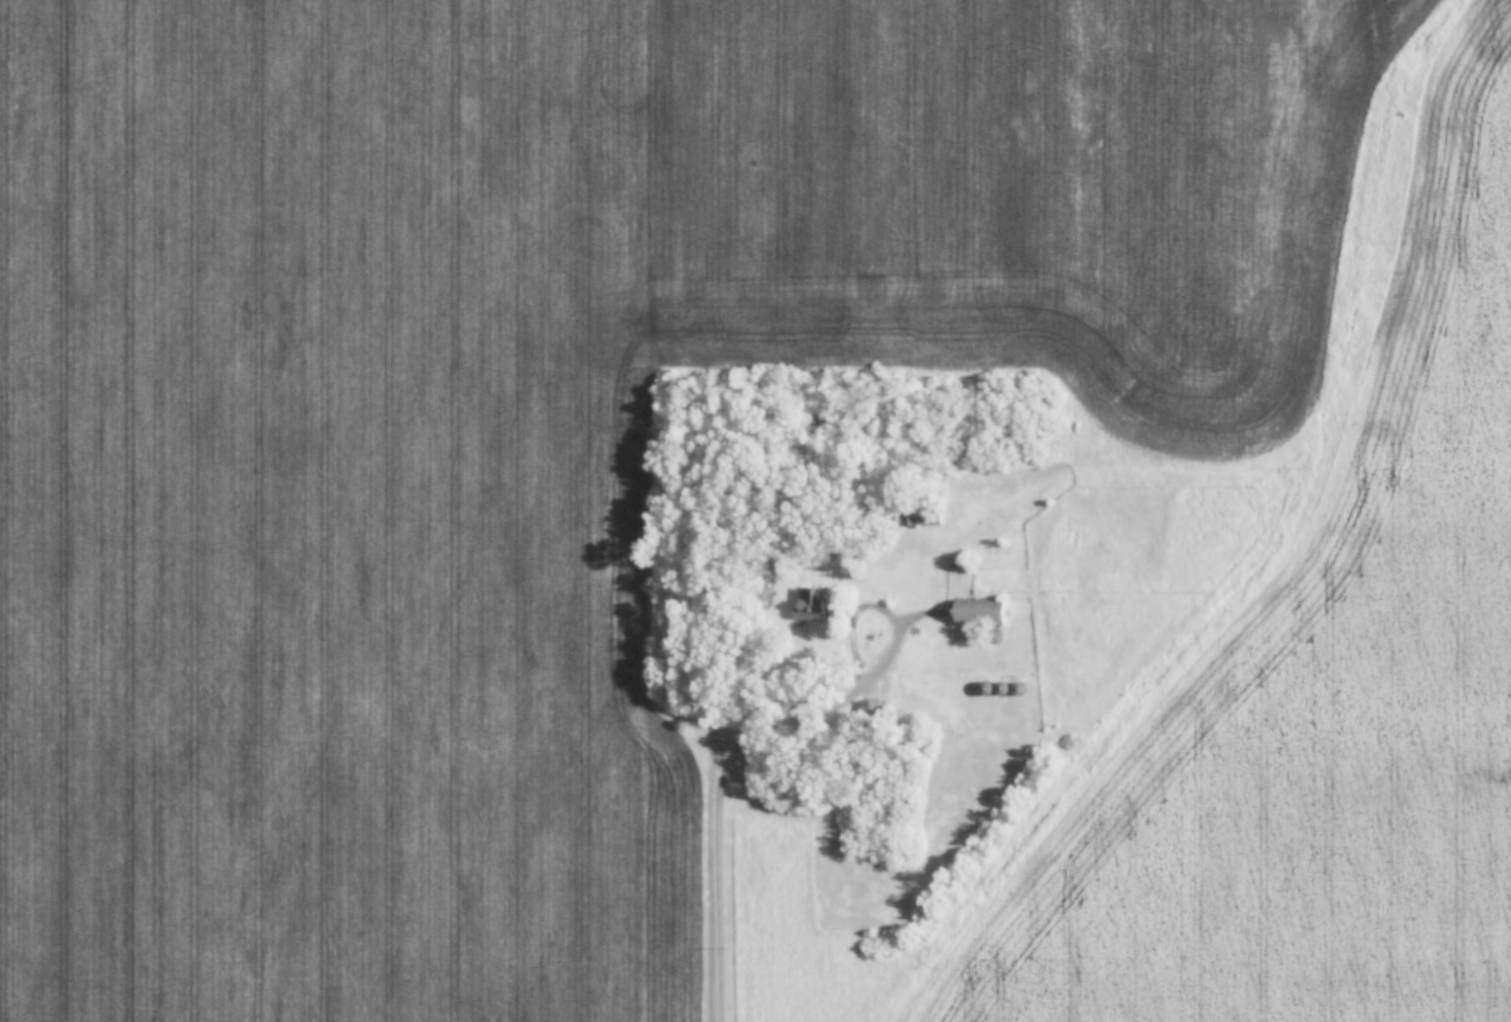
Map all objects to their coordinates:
building: (930, 521)
building: (811, 603)
building: (979, 612)
building: (871, 709)
road: (724, 775)

